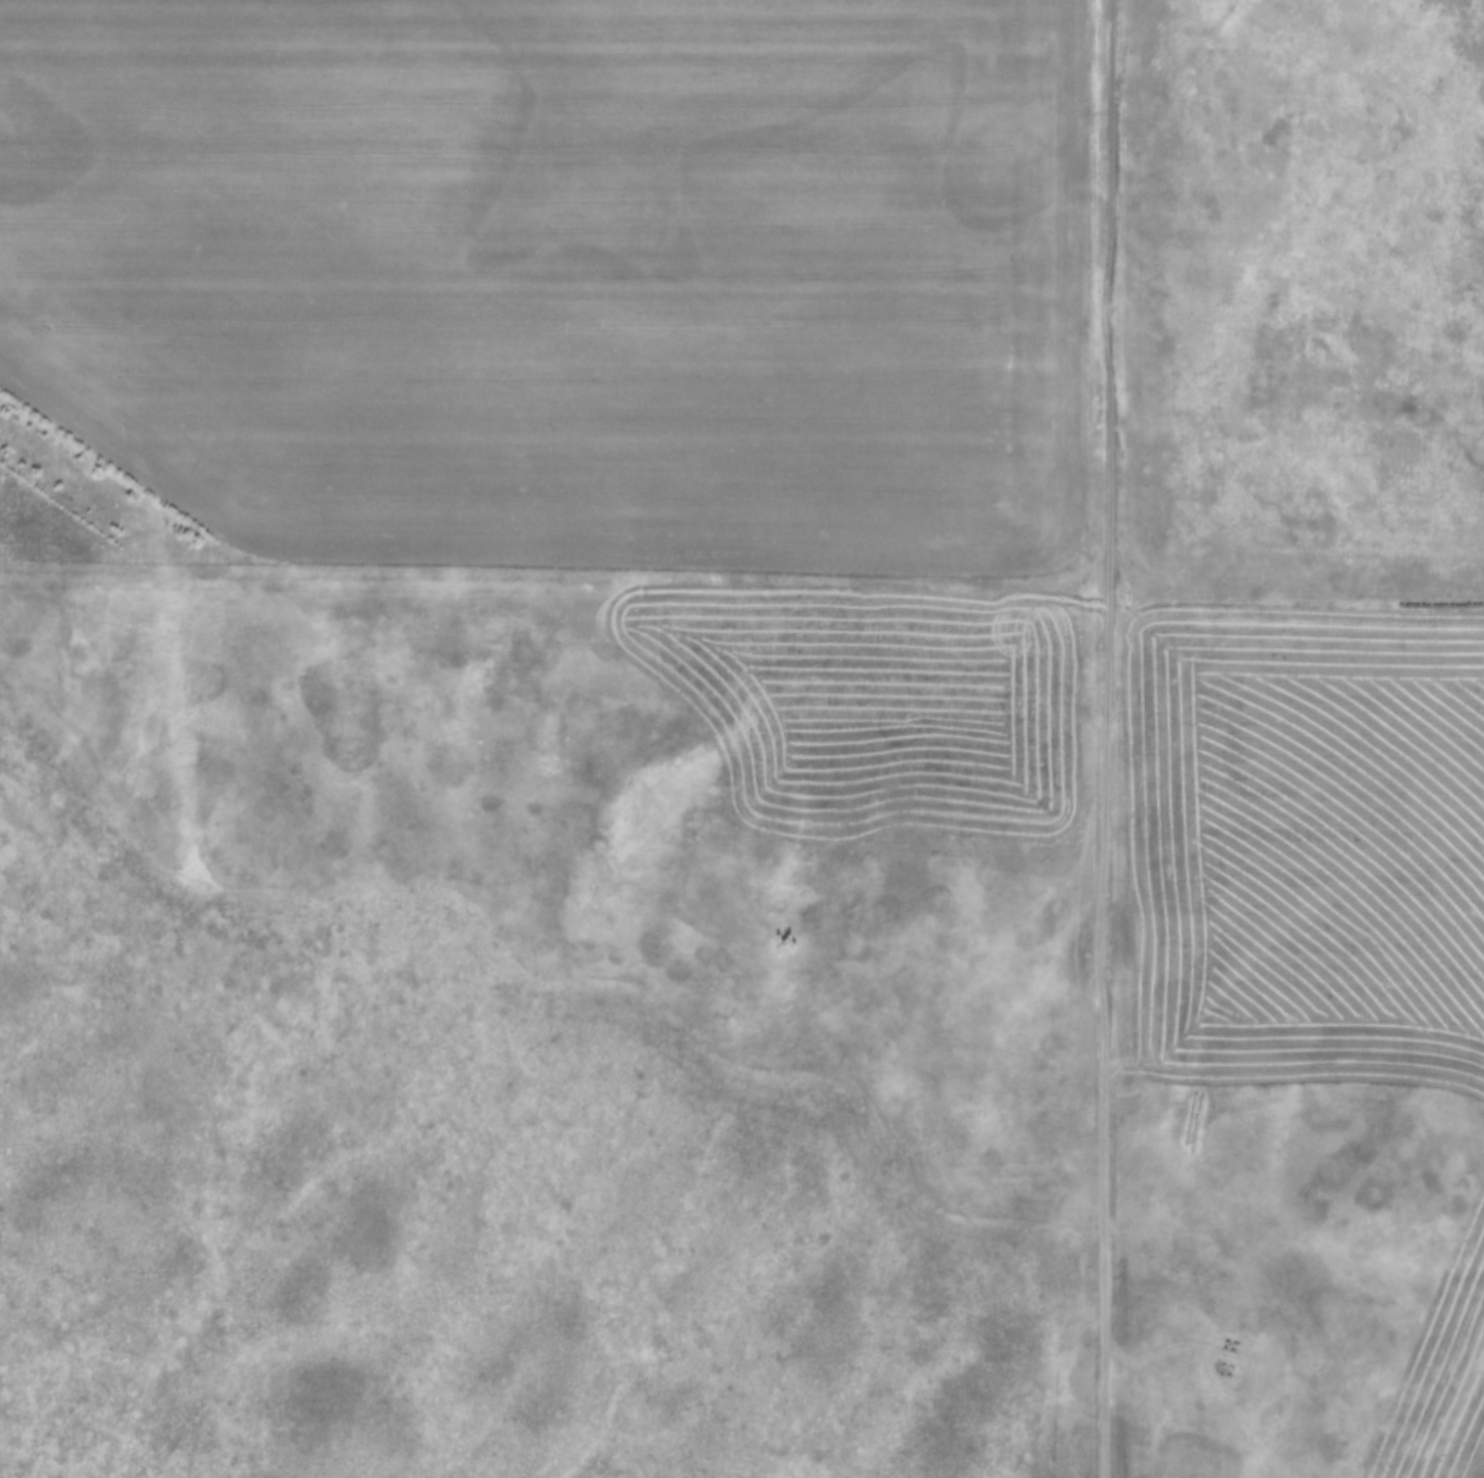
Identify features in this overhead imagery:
road: (1104, 738)

